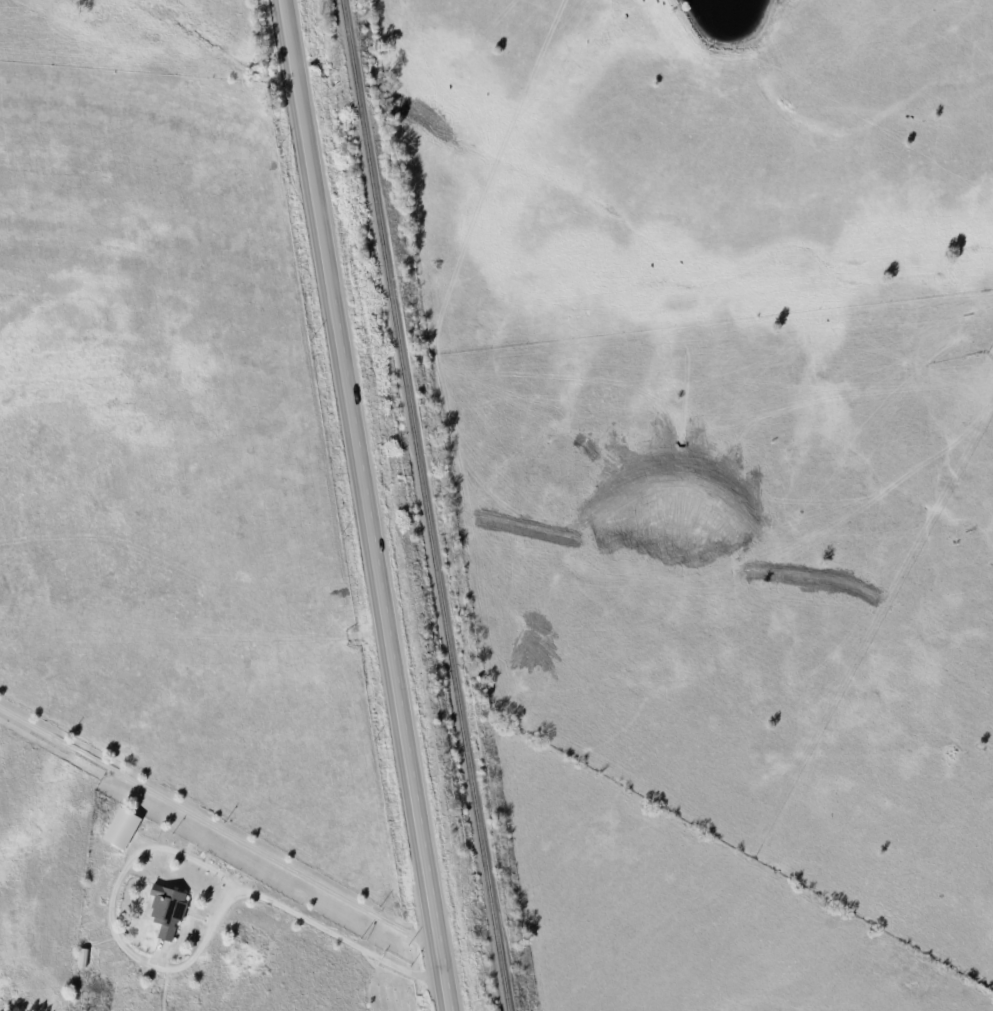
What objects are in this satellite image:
road: (367, 505)
railway: (426, 505)
road: (219, 826)
building: (124, 827)
road: (169, 846)
building: (168, 909)

